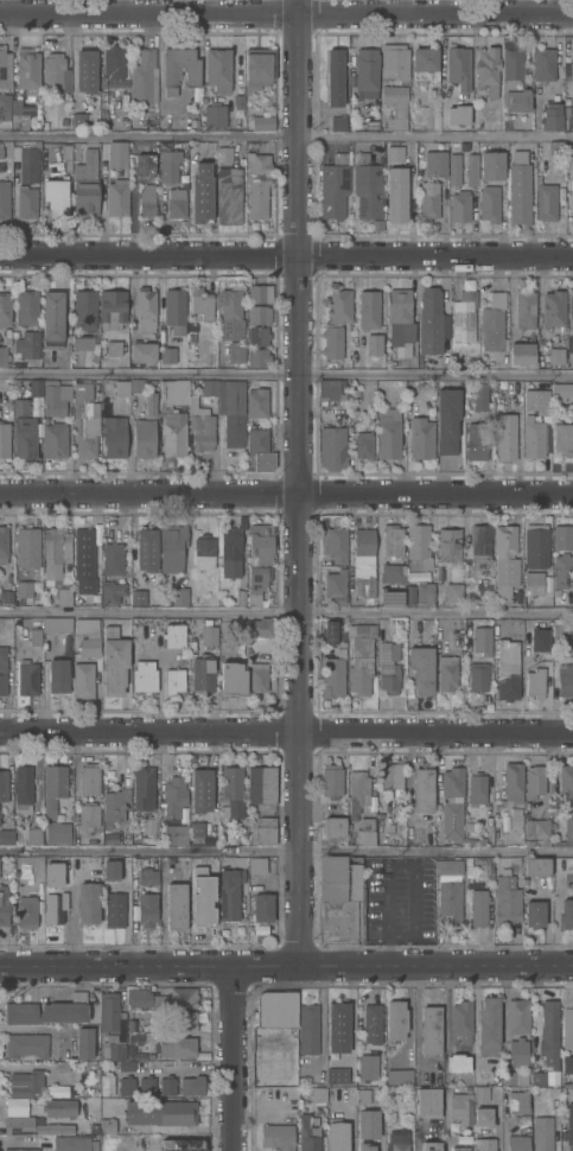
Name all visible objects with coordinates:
road: (286, 17)
building: (394, 62)
building: (113, 63)
building: (425, 64)
building: (543, 64)
building: (572, 64)
building: (458, 66)
building: (259, 68)
building: (179, 69)
building: (5, 70)
building: (84, 71)
building: (486, 71)
building: (27, 72)
building: (222, 72)
building: (367, 72)
building: (55, 74)
building: (142, 77)
building: (335, 78)
building: (102, 80)
building: (515, 83)
building: (102, 85)
building: (102, 100)
building: (395, 106)
building: (5, 112)
building: (20, 115)
building: (214, 115)
building: (457, 115)
building: (419, 116)
building: (550, 116)
building: (102, 119)
building: (77, 121)
building: (64, 122)
building: (262, 123)
building: (337, 123)
road: (286, 138)
building: (464, 147)
building: (471, 147)
building: (555, 148)
building: (1, 154)
building: (223, 154)
building: (116, 155)
building: (394, 157)
building: (66, 158)
building: (28, 164)
building: (434, 164)
building: (144, 165)
building: (257, 165)
building: (491, 165)
building: (168, 166)
building: (51, 167)
building: (454, 170)
building: (471, 170)
building: (560, 179)
building: (85, 185)
building: (333, 187)
building: (367, 187)
building: (518, 189)
building: (395, 196)
building: (56, 197)
building: (116, 197)
building: (228, 197)
building: (142, 199)
building: (202, 199)
building: (257, 199)
building: (428, 199)
building: (4, 201)
building: (26, 203)
building: (546, 203)
building: (176, 204)
building: (489, 204)
building: (459, 206)
building: (572, 206)
road: (286, 257)
building: (260, 294)
building: (202, 303)
building: (27, 304)
building: (550, 304)
building: (113, 309)
building: (5, 310)
building: (368, 310)
building: (524, 310)
building: (145, 311)
building: (174, 311)
building: (83, 314)
building: (230, 316)
building: (257, 316)
building: (569, 316)
building: (463, 317)
building: (52, 320)
building: (400, 322)
building: (336, 323)
building: (431, 323)
building: (492, 323)
building: (191, 329)
building: (191, 336)
building: (257, 337)
building: (81, 343)
building: (27, 345)
building: (569, 346)
building: (113, 349)
building: (142, 354)
building: (522, 354)
building: (236, 355)
building: (167, 356)
building: (373, 356)
building: (554, 356)
building: (5, 357)
building: (257, 358)
road: (286, 377)
building: (135, 386)
building: (15, 387)
building: (34, 388)
building: (121, 388)
building: (209, 388)
building: (331, 390)
building: (561, 392)
building: (172, 394)
building: (55, 399)
building: (478, 399)
building: (531, 400)
building: (256, 403)
building: (151, 405)
building: (20, 408)
building: (231, 411)
building: (446, 420)
building: (84, 421)
building: (202, 432)
building: (389, 433)
building: (173, 435)
building: (24, 437)
building: (533, 437)
building: (114, 438)
building: (504, 438)
building: (144, 439)
building: (420, 439)
building: (4, 440)
building: (55, 440)
building: (562, 440)
building: (475, 441)
building: (363, 445)
building: (332, 449)
building: (259, 450)
road: (295, 483)
road: (286, 496)
building: (562, 538)
building: (260, 540)
building: (391, 541)
building: (480, 543)
building: (2, 545)
road: (96, 545)
building: (448, 545)
building: (336, 546)
building: (363, 547)
building: (418, 547)
building: (535, 547)
building: (26, 548)
building: (171, 548)
building: (146, 549)
building: (203, 552)
building: (230, 553)
building: (112, 559)
building: (83, 560)
building: (505, 560)
building: (56, 562)
building: (562, 571)
building: (391, 574)
building: (485, 577)
building: (409, 578)
building: (533, 583)
building: (256, 584)
building: (365, 585)
building: (335, 586)
building: (23, 589)
building: (112, 592)
building: (453, 592)
building: (420, 594)
building: (6, 597)
building: (138, 598)
building: (179, 598)
building: (241, 598)
building: (390, 598)
road: (286, 616)
building: (237, 624)
building: (56, 625)
building: (260, 628)
building: (331, 634)
building: (560, 634)
building: (173, 636)
building: (208, 636)
building: (34, 637)
building: (88, 637)
building: (482, 641)
building: (539, 641)
building: (361, 657)
building: (113, 662)
building: (388, 669)
building: (421, 669)
building: (2, 670)
building: (507, 672)
building: (446, 673)
building: (58, 675)
building: (202, 675)
building: (333, 676)
building: (478, 676)
building: (144, 678)
building: (257, 678)
building: (27, 679)
building: (82, 680)
building: (231, 680)
building: (565, 680)
building: (174, 682)
building: (535, 683)
road: (286, 736)
building: (391, 775)
building: (88, 780)
building: (331, 782)
building: (534, 782)
building: (565, 782)
building: (452, 783)
building: (512, 783)
building: (261, 786)
building: (4, 787)
building: (144, 788)
building: (422, 788)
building: (53, 789)
building: (477, 789)
building: (23, 790)
building: (200, 790)
building: (233, 793)
building: (357, 794)
building: (174, 797)
building: (115, 805)
building: (388, 806)
building: (524, 807)
building: (88, 815)
building: (451, 821)
building: (148, 826)
building: (333, 827)
building: (537, 828)
building: (195, 829)
building: (262, 831)
building: (57, 833)
building: (363, 833)
building: (566, 834)
building: (176, 835)
building: (33, 837)
building: (6, 838)
building: (475, 842)
road: (286, 853)
building: (196, 865)
building: (256, 866)
building: (536, 867)
building: (448, 869)
building: (110, 870)
building: (145, 873)
building: (53, 876)
building: (498, 884)
building: (229, 895)
building: (205, 901)
building: (339, 901)
building: (88, 904)
building: (448, 904)
building: (176, 905)
building: (4, 907)
building: (507, 907)
building: (144, 908)
building: (262, 908)
building: (478, 908)
building: (53, 909)
building: (114, 909)
building: (26, 912)
building: (534, 914)
building: (566, 915)
road: (389, 917)
road: (286, 968)
building: (163, 998)
building: (276, 1009)
building: (47, 1010)
building: (110, 1012)
building: (157, 1013)
building: (517, 1015)
building: (182, 1019)
building: (396, 1019)
building: (461, 1020)
building: (130, 1024)
building: (371, 1024)
building: (489, 1025)
building: (337, 1026)
building: (307, 1028)
building: (567, 1028)
building: (429, 1029)
building: (549, 1034)
building: (84, 1043)
building: (26, 1044)
building: (389, 1045)
building: (176, 1047)
building: (113, 1050)
building: (518, 1051)
building: (52, 1054)
road: (229, 1060)
building: (457, 1062)
building: (567, 1063)
building: (126, 1066)
road: (185, 1066)
building: (368, 1067)
building: (336, 1075)
building: (397, 1076)
building: (514, 1076)
building: (537, 1080)
building: (25, 1082)
building: (107, 1083)
building: (126, 1085)
building: (146, 1085)
building: (166, 1085)
building: (192, 1085)
building: (85, 1090)
building: (408, 1092)
building: (534, 1092)
building: (318, 1094)
building: (480, 1094)
building: (361, 1095)
building: (427, 1100)
building: (517, 1101)
building: (59, 1107)
building: (461, 1107)
building: (160, 1112)
building: (483, 1115)
building: (368, 1123)
building: (107, 1124)
building: (33, 1126)
building: (569, 1126)
building: (93, 1127)
building: (308, 1132)
building: (542, 1133)
building: (337, 1134)
building: (276, 1136)
building: (397, 1140)
building: (71, 1143)
building: (518, 1143)
building: (485, 1144)
building: (182, 1145)
building: (431, 1145)
building: (364, 1146)
building: (460, 1149)
building: (20, 1150)

